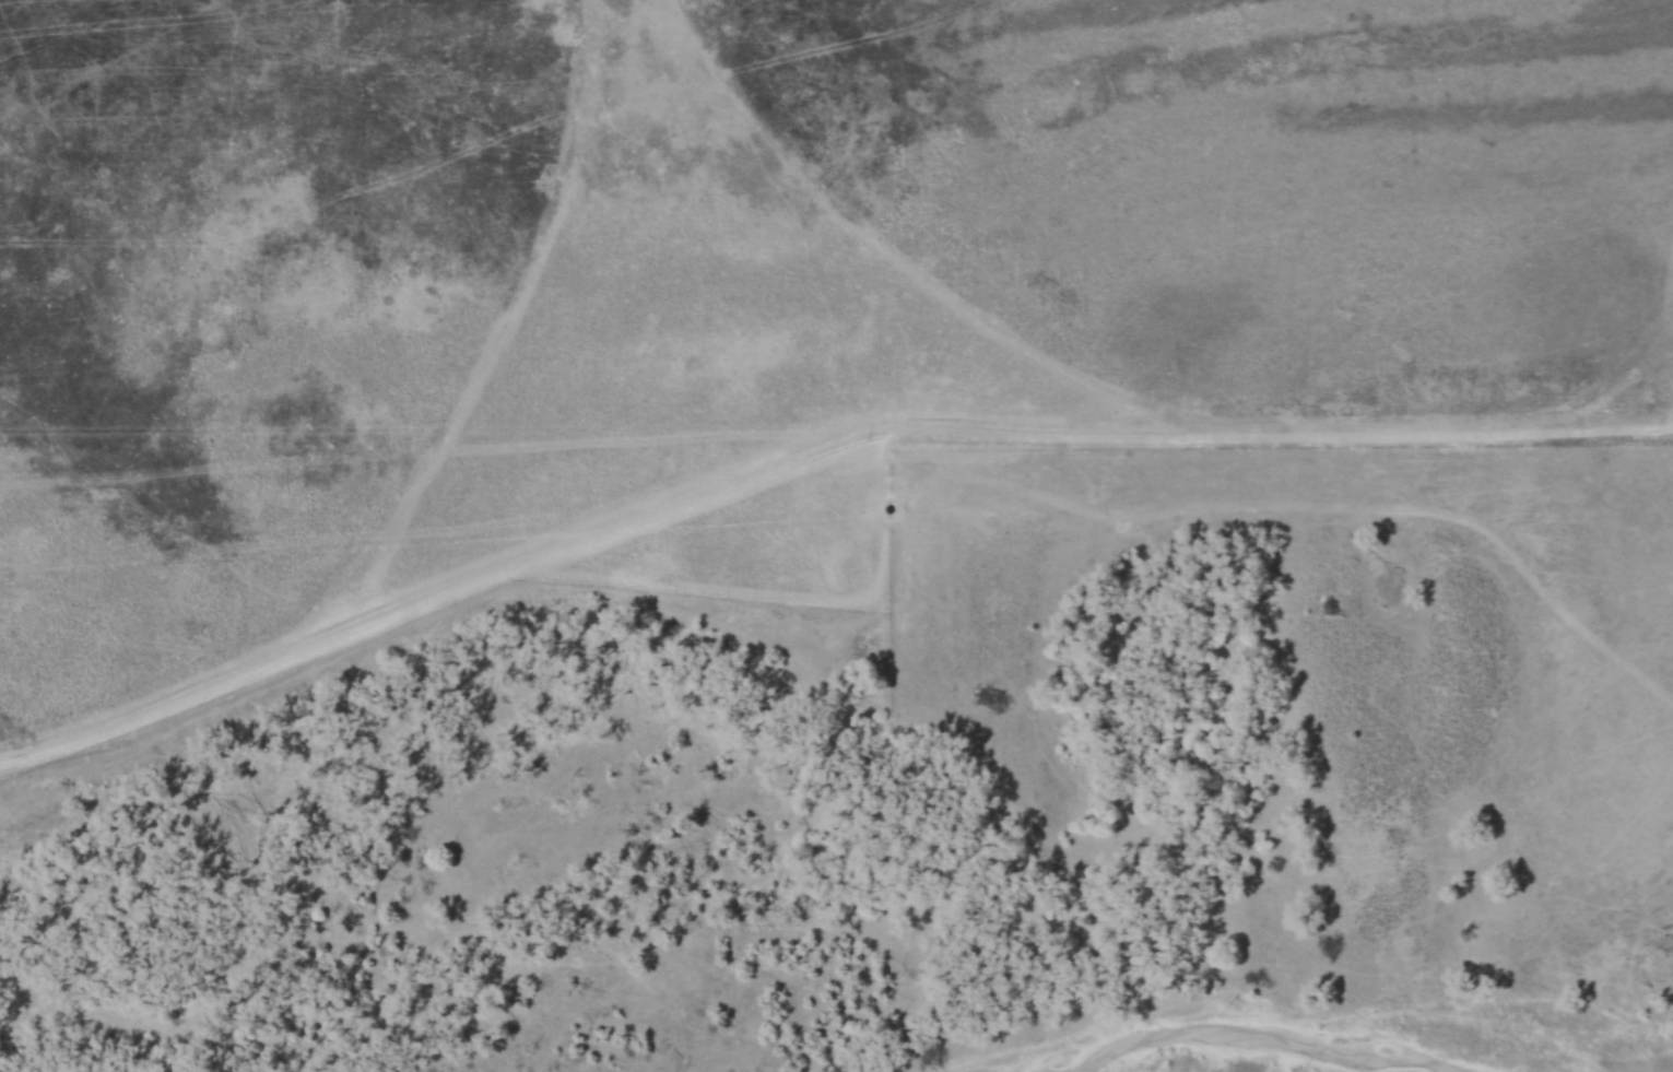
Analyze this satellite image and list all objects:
river: (1257, 1035)

